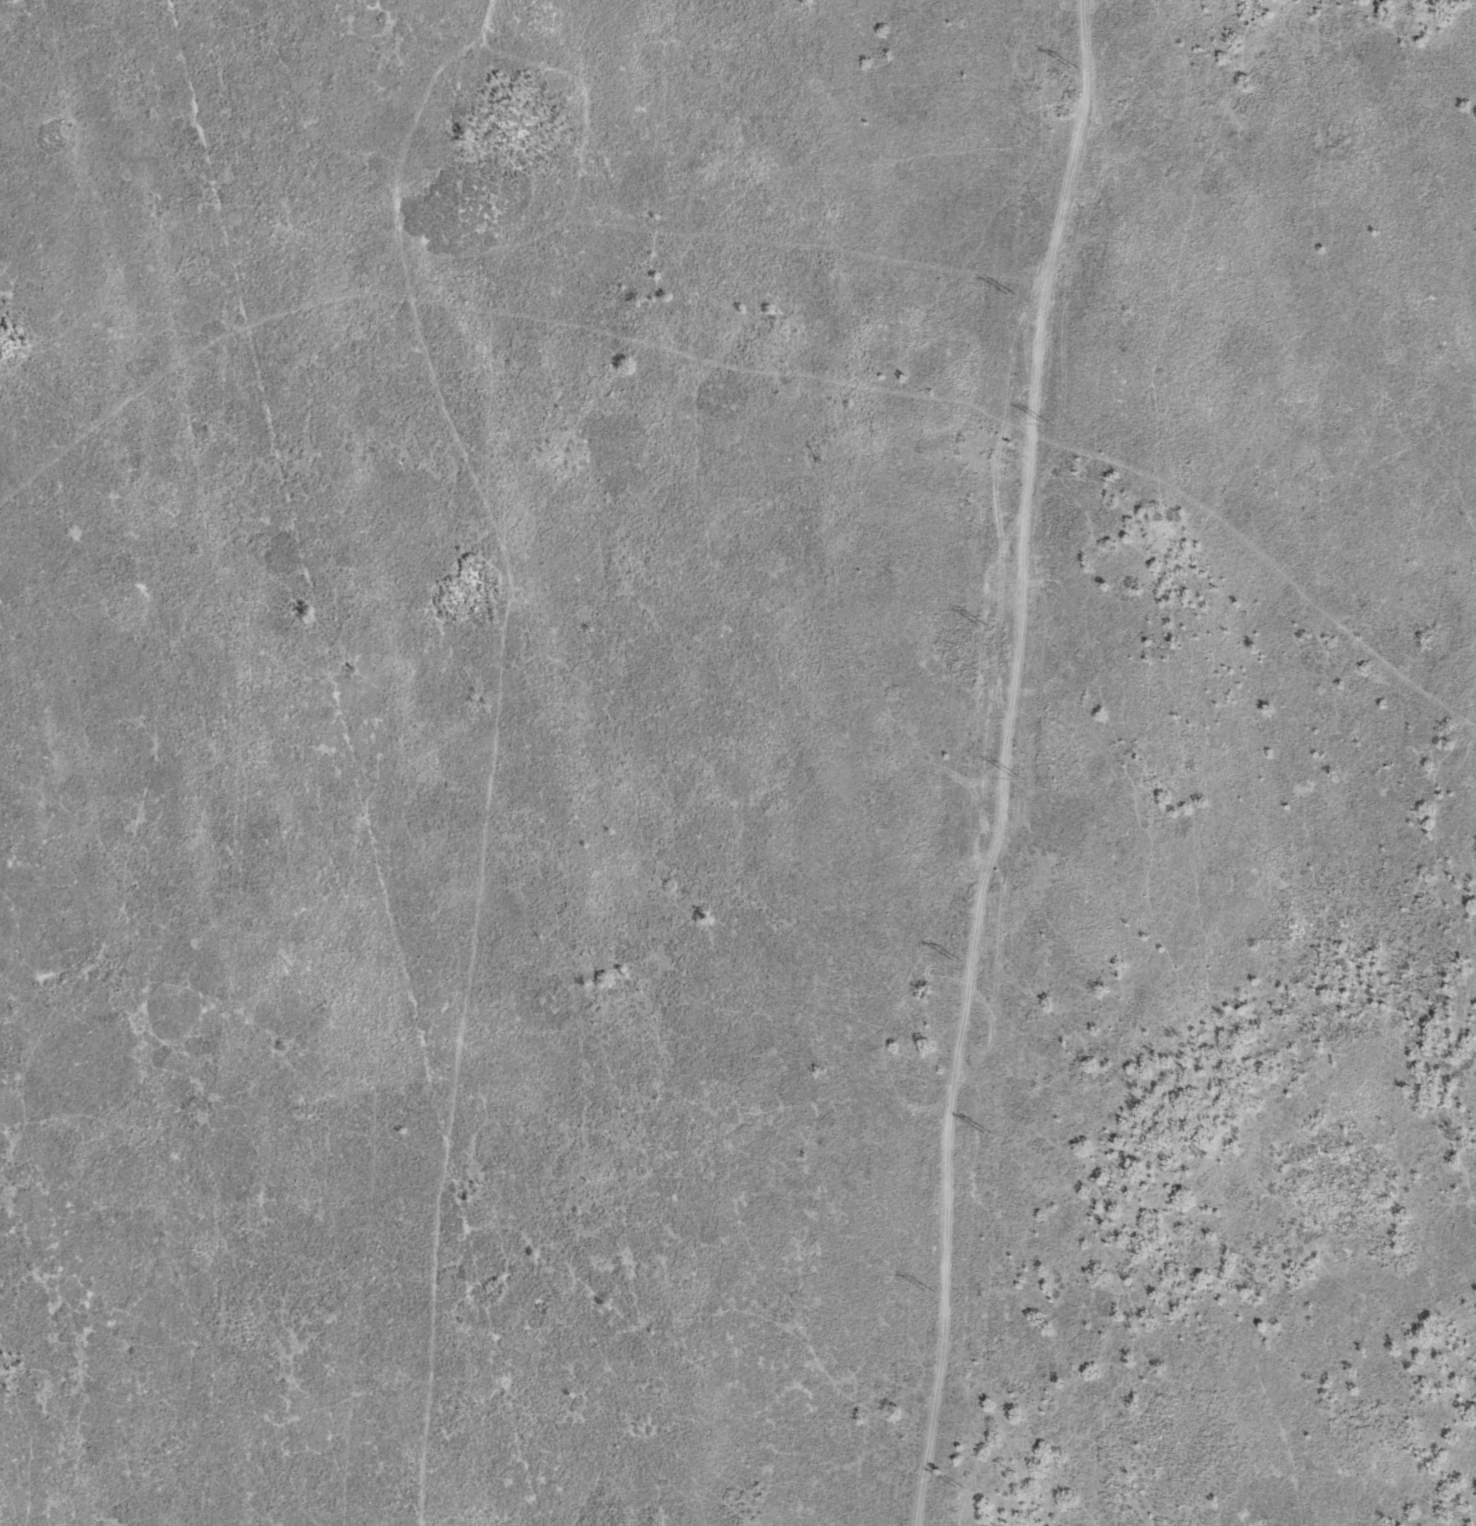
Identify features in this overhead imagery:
power tower: (1076, 70)
power tower: (1011, 295)
power tower: (1047, 425)
power tower: (986, 624)
power tower: (1018, 777)
power tower: (958, 960)
power tower: (990, 1134)
power tower: (930, 1293)
power tower: (959, 1490)

